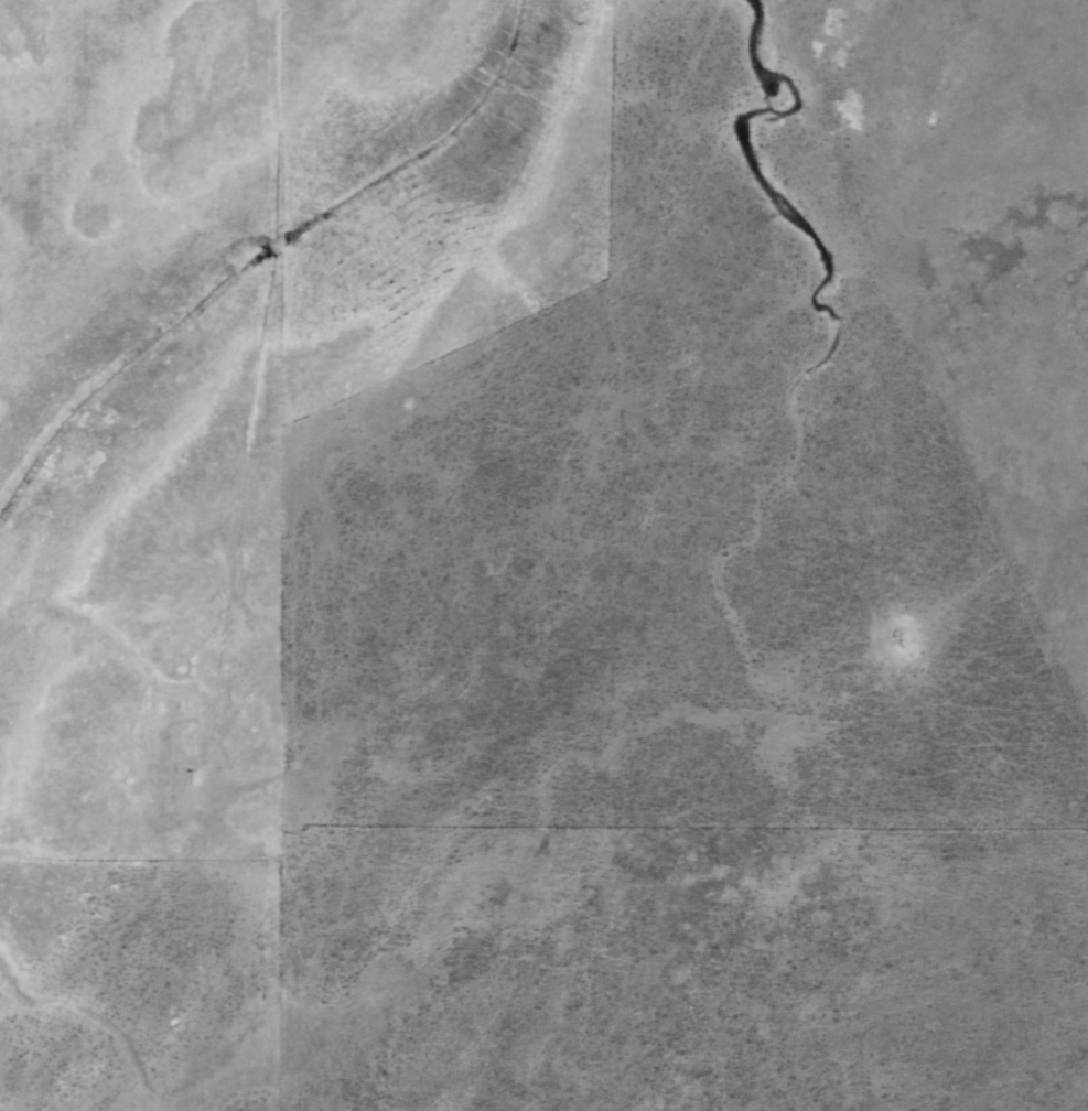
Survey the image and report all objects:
crop: (476, 450)

